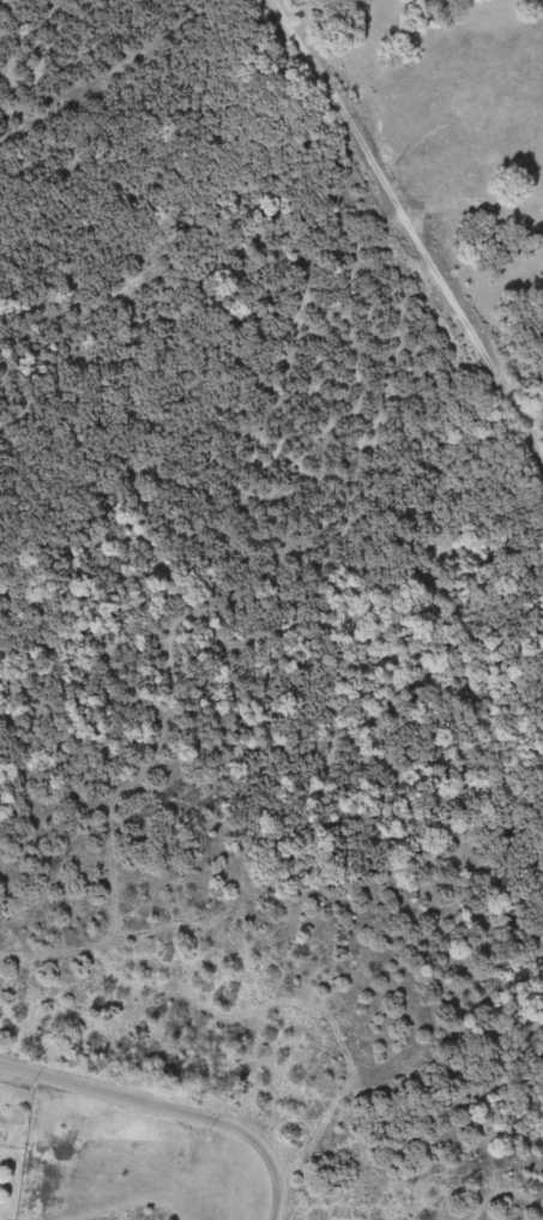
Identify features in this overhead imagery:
road: (171, 1113)
road: (470, 1183)

